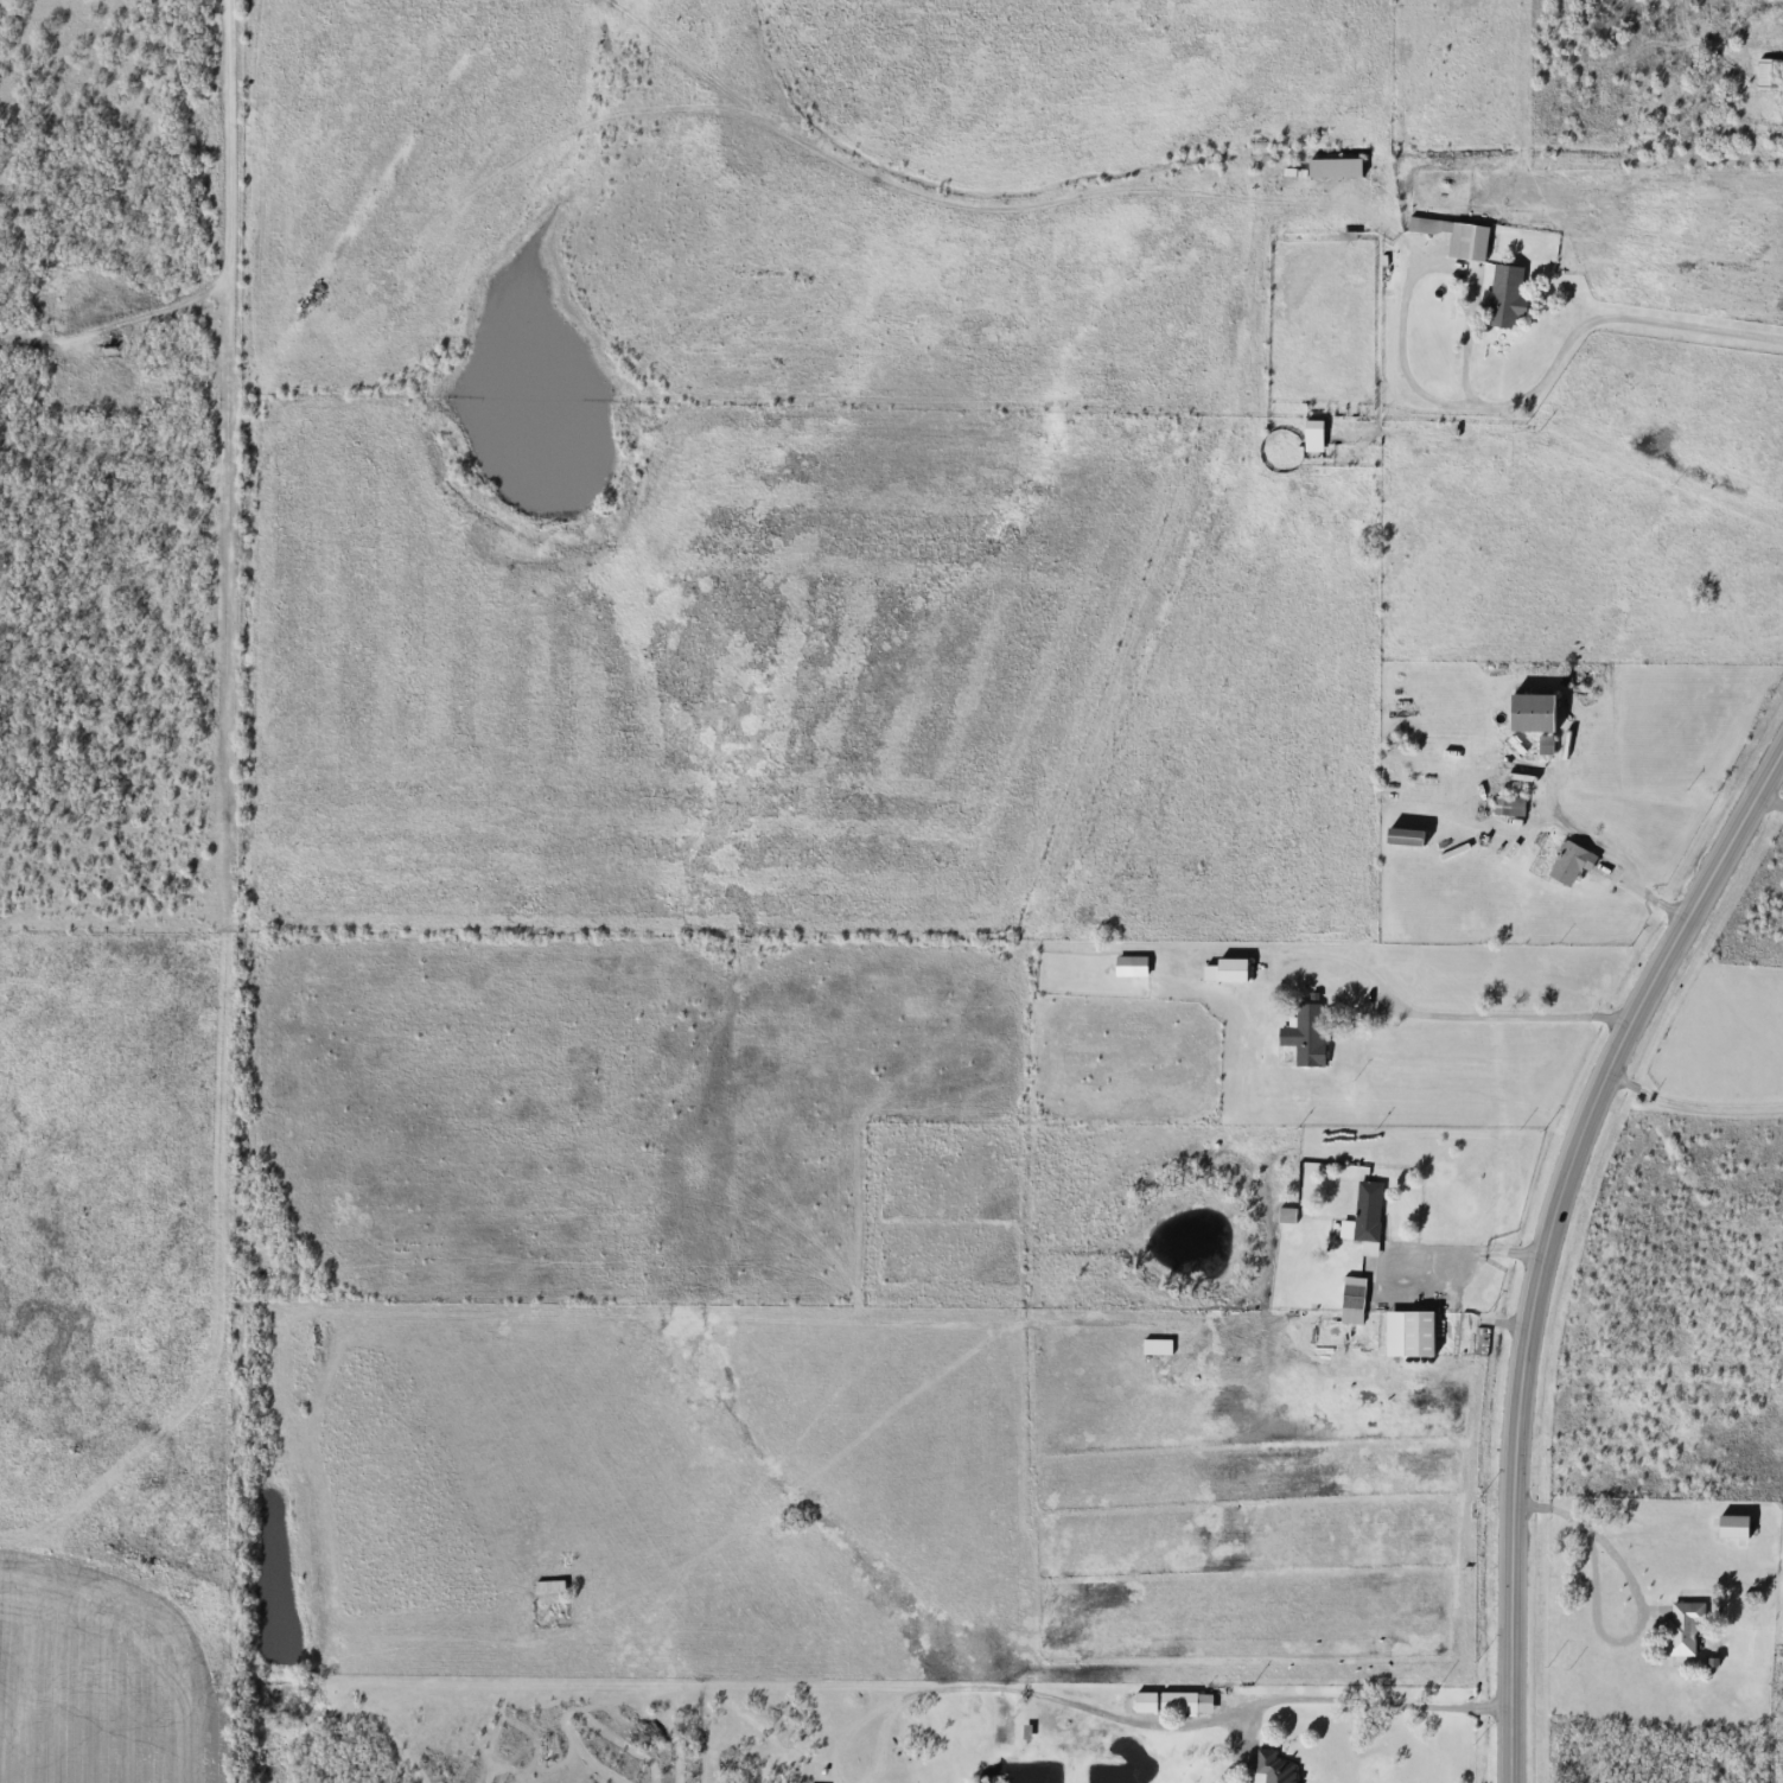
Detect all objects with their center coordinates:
building: (1770, 74)
building: (1335, 167)
building: (1456, 236)
building: (1503, 303)
building: (1312, 437)
building: (1530, 713)
building: (1509, 805)
building: (1403, 836)
building: (1571, 862)
building: (1131, 966)
building: (1224, 970)
building: (1305, 1036)
road: (1601, 1087)
building: (1367, 1210)
building: (1352, 1300)
building: (1416, 1335)
building: (1768, 1509)
building: (548, 1586)
road: (1511, 1618)
building: (1683, 1628)
building: (1144, 1702)
building: (1185, 1702)
building: (893, 1750)
building: (1272, 1768)

